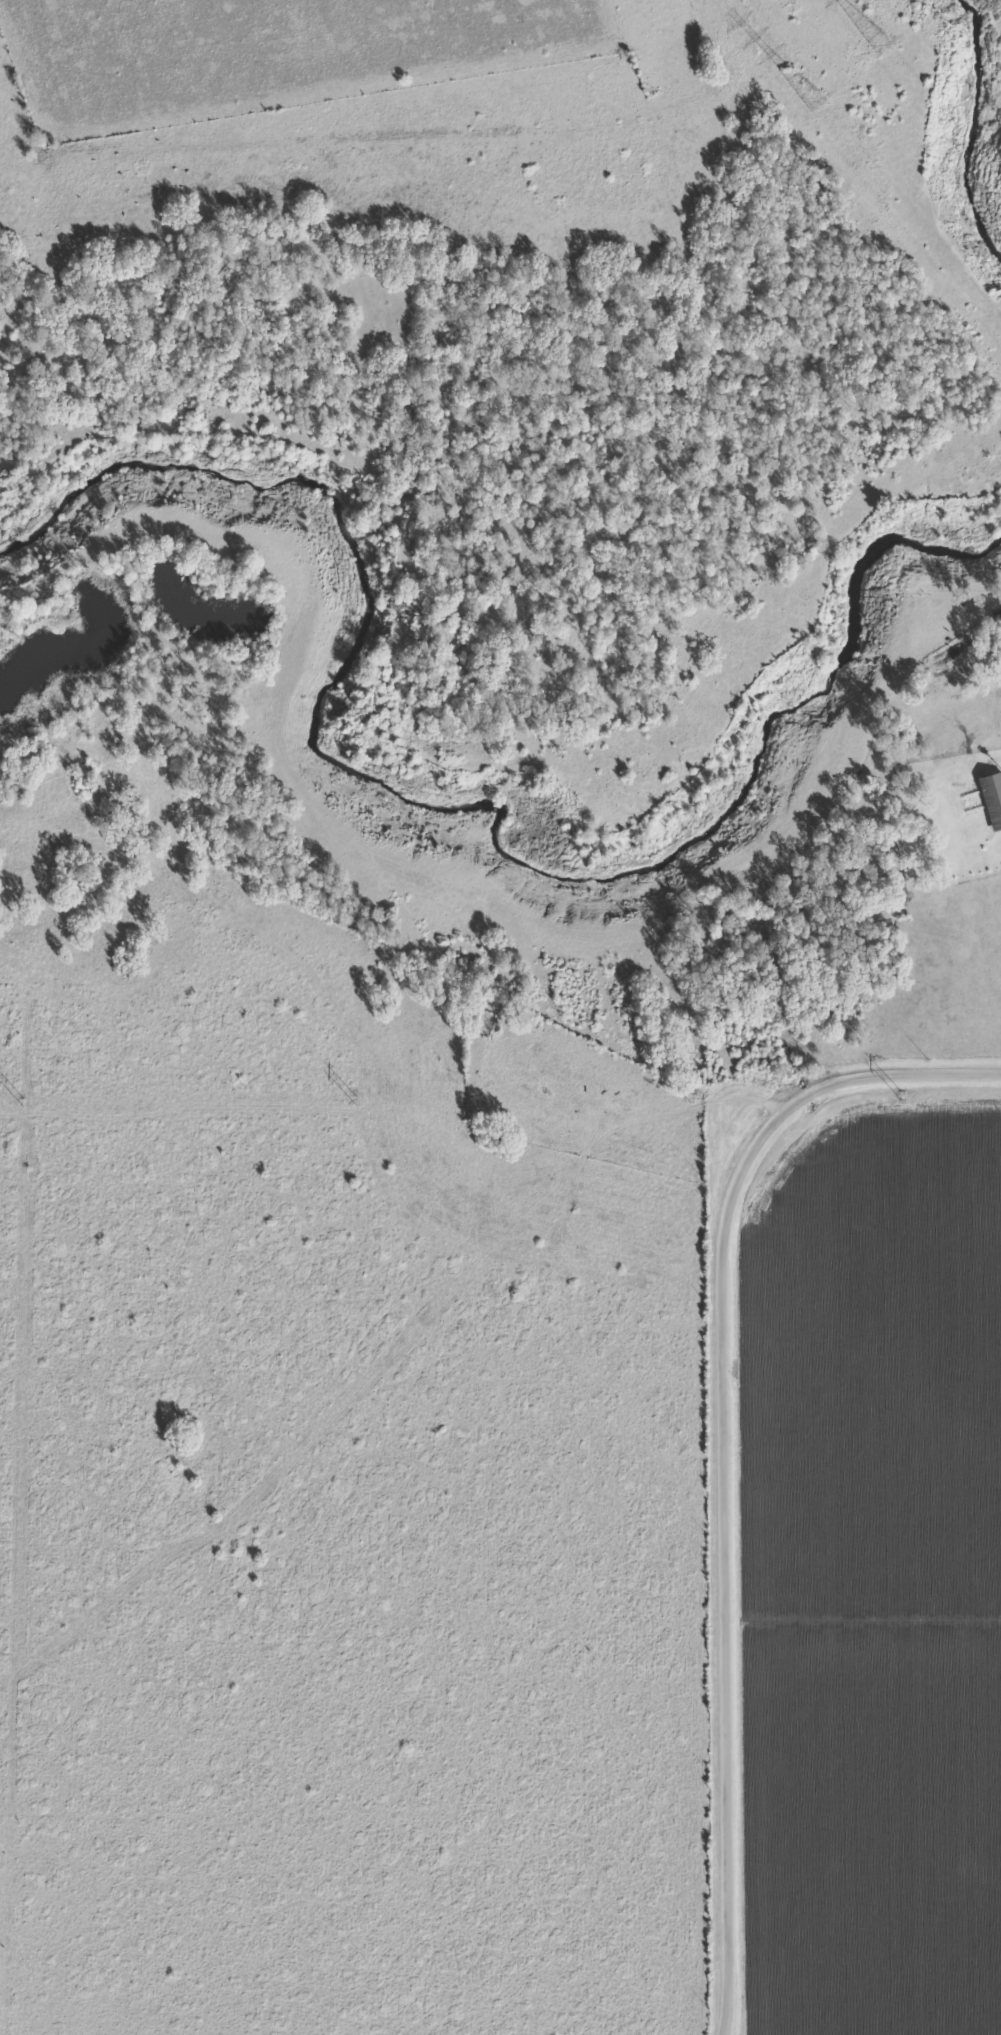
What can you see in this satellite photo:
power tower: (932, 26)
power tower: (881, 44)
power tower: (814, 101)
river: (964, 127)
building: (991, 800)
river: (463, 830)
power tower: (901, 1097)
power tower: (689, 1098)
power tower: (349, 1100)
power tower: (23, 1103)
road: (718, 1449)

